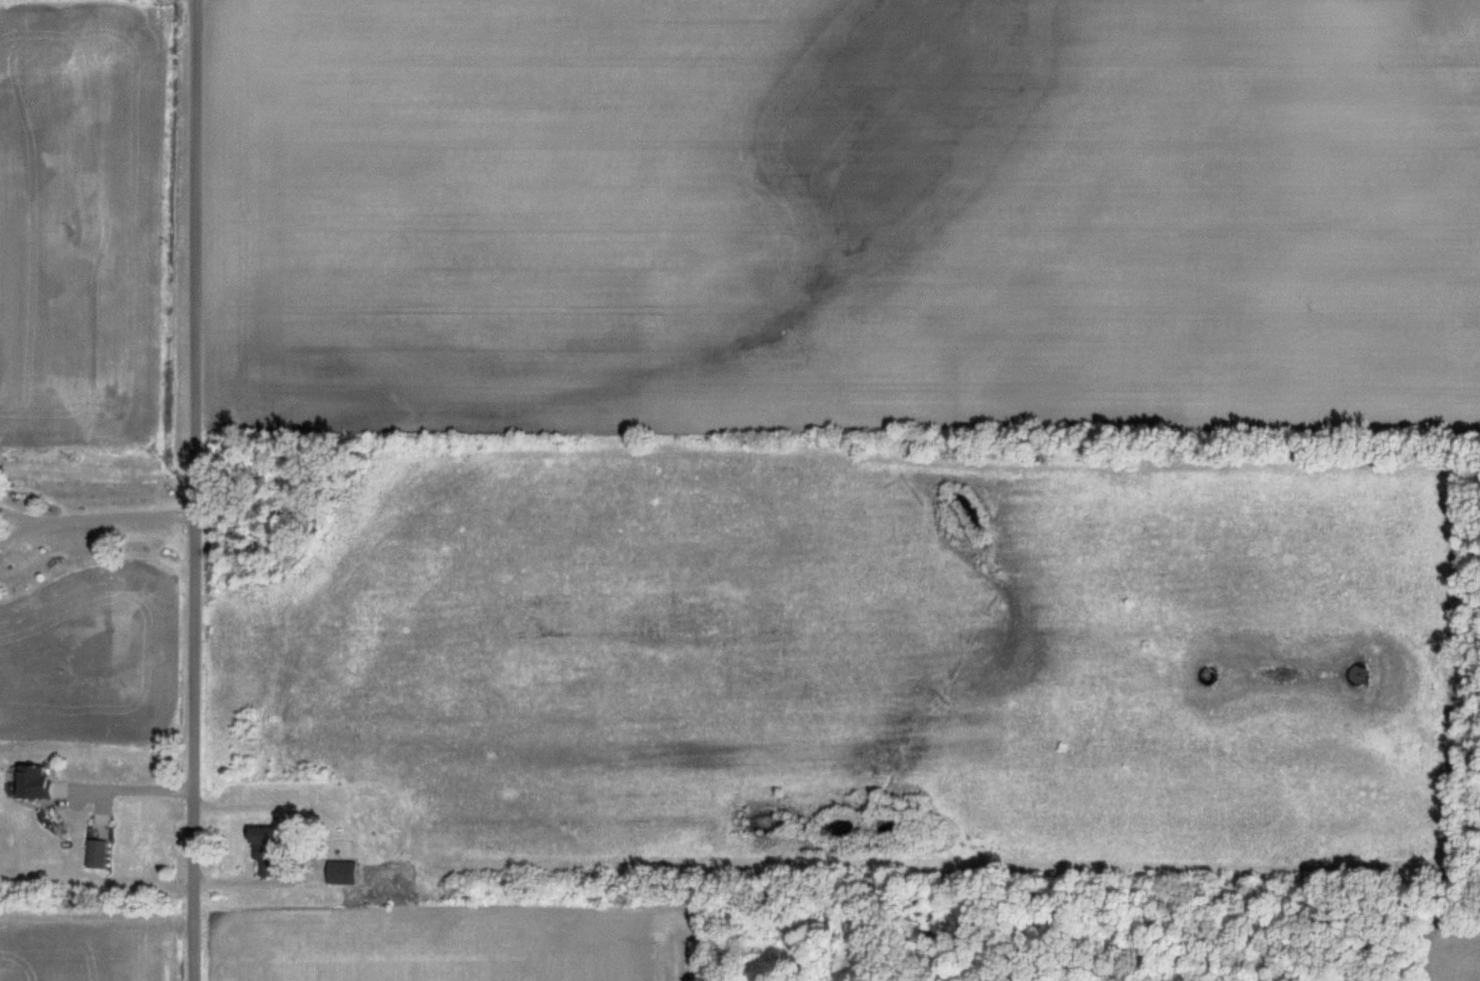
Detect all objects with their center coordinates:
road: (192, 490)
road: (14, 515)
road: (110, 518)
road: (14, 530)
building: (37, 781)
road: (129, 788)
building: (269, 833)
building: (97, 853)
building: (341, 862)

